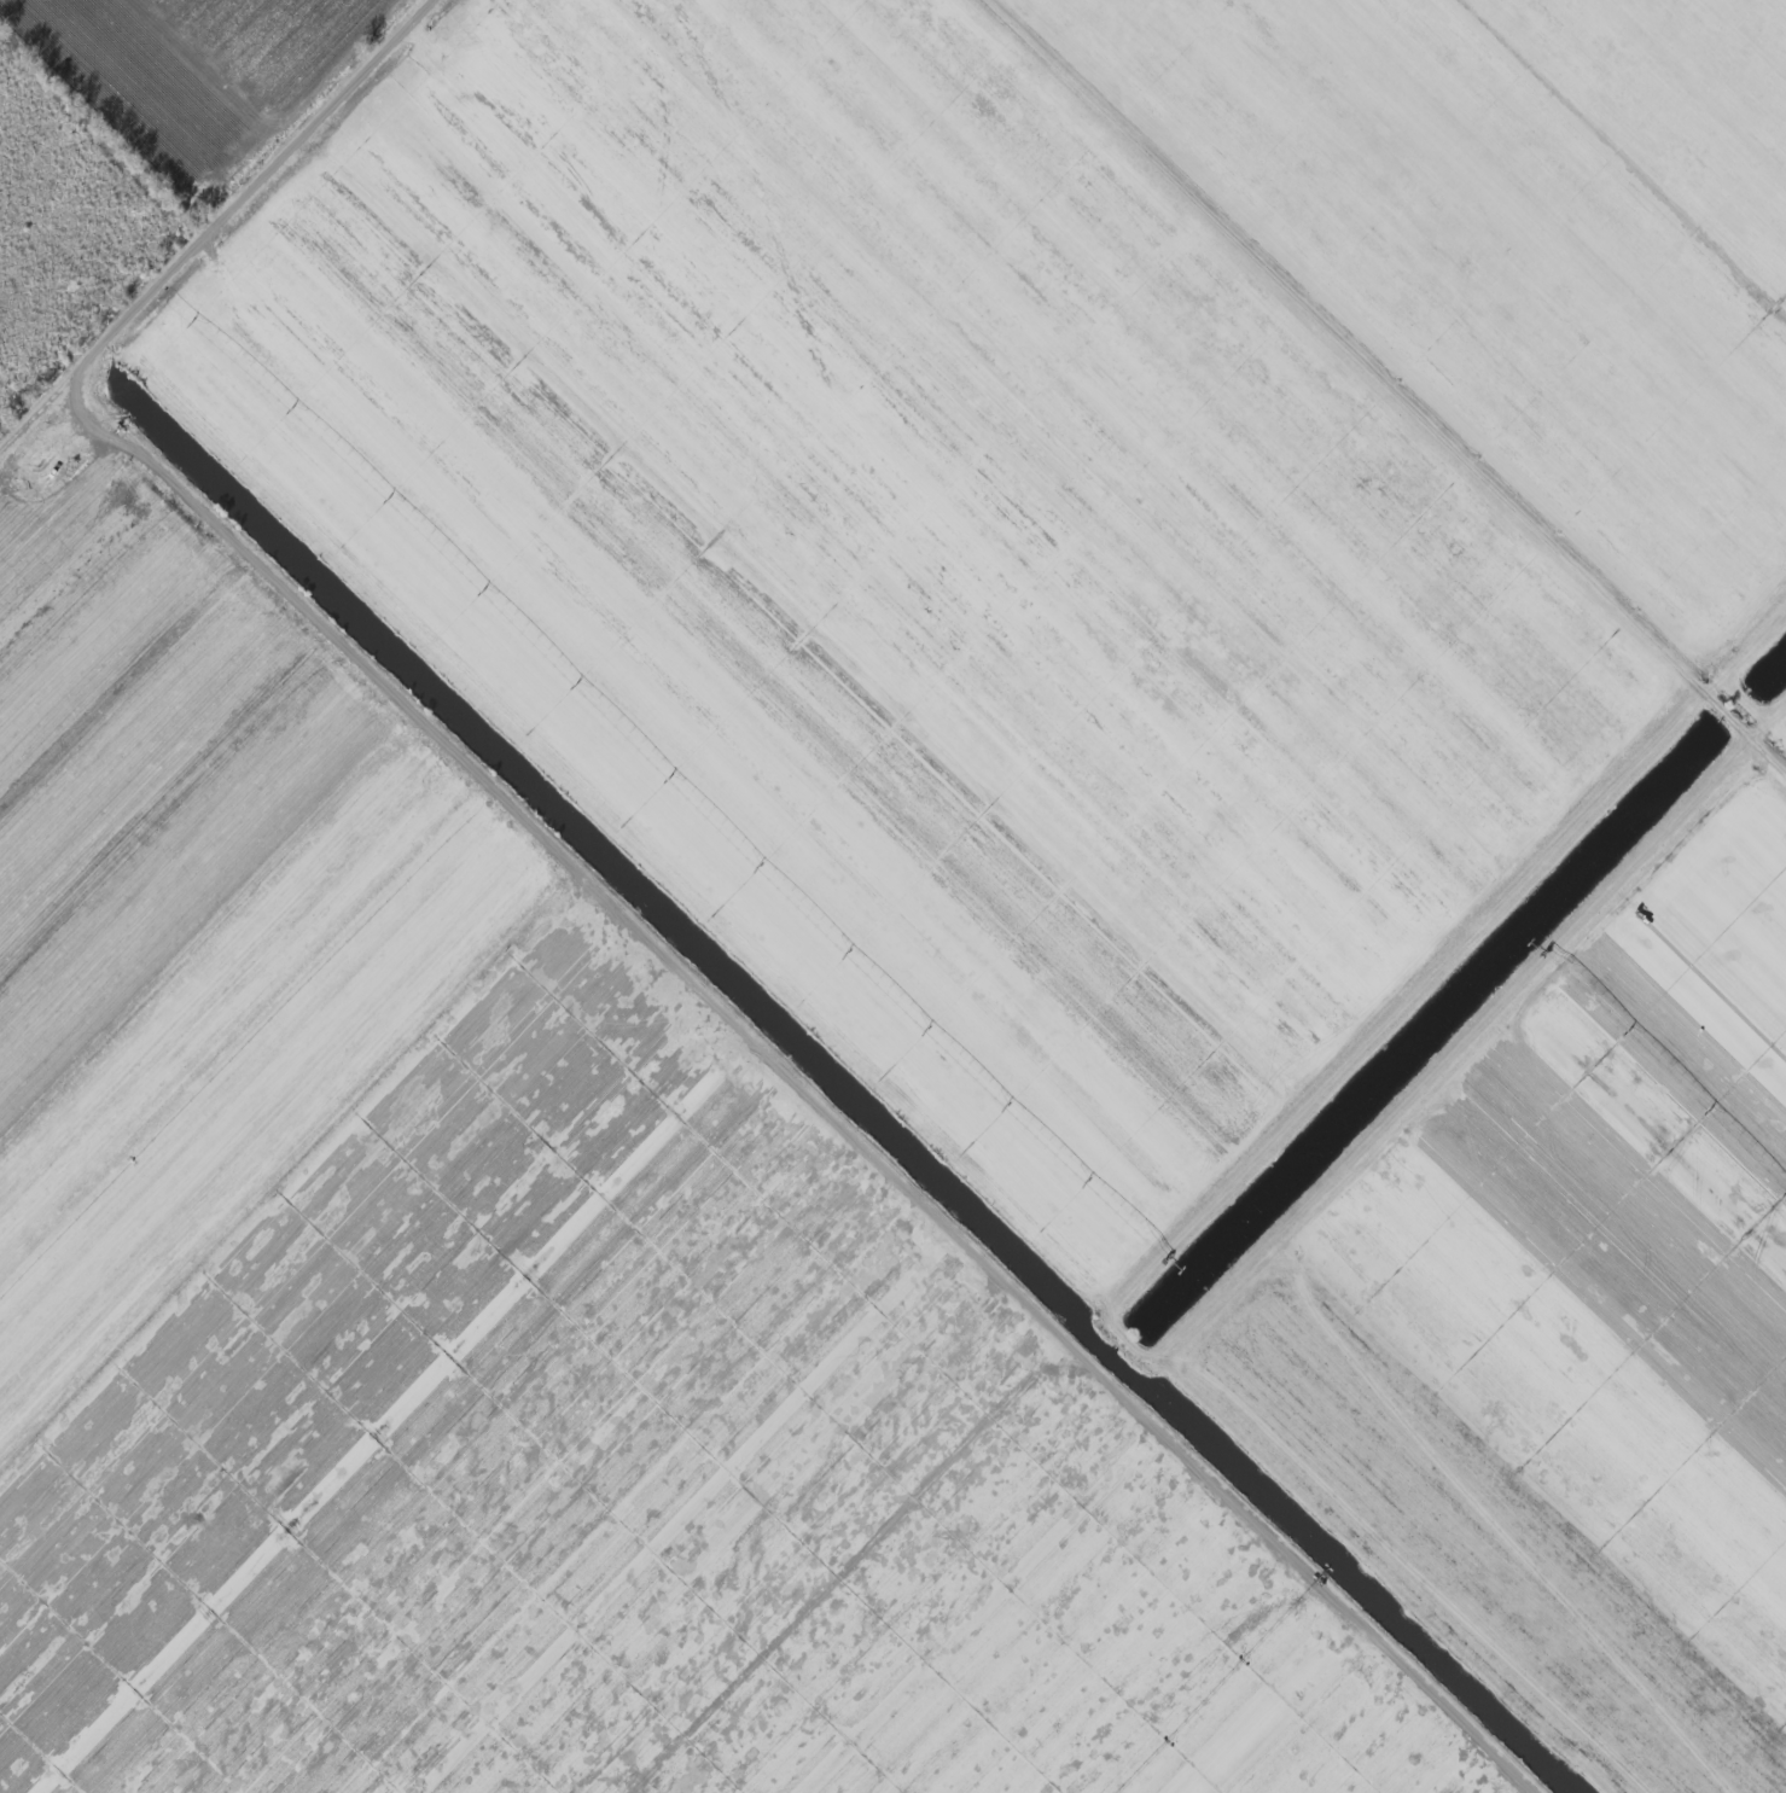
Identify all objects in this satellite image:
road: (279, 144)
road: (88, 159)

